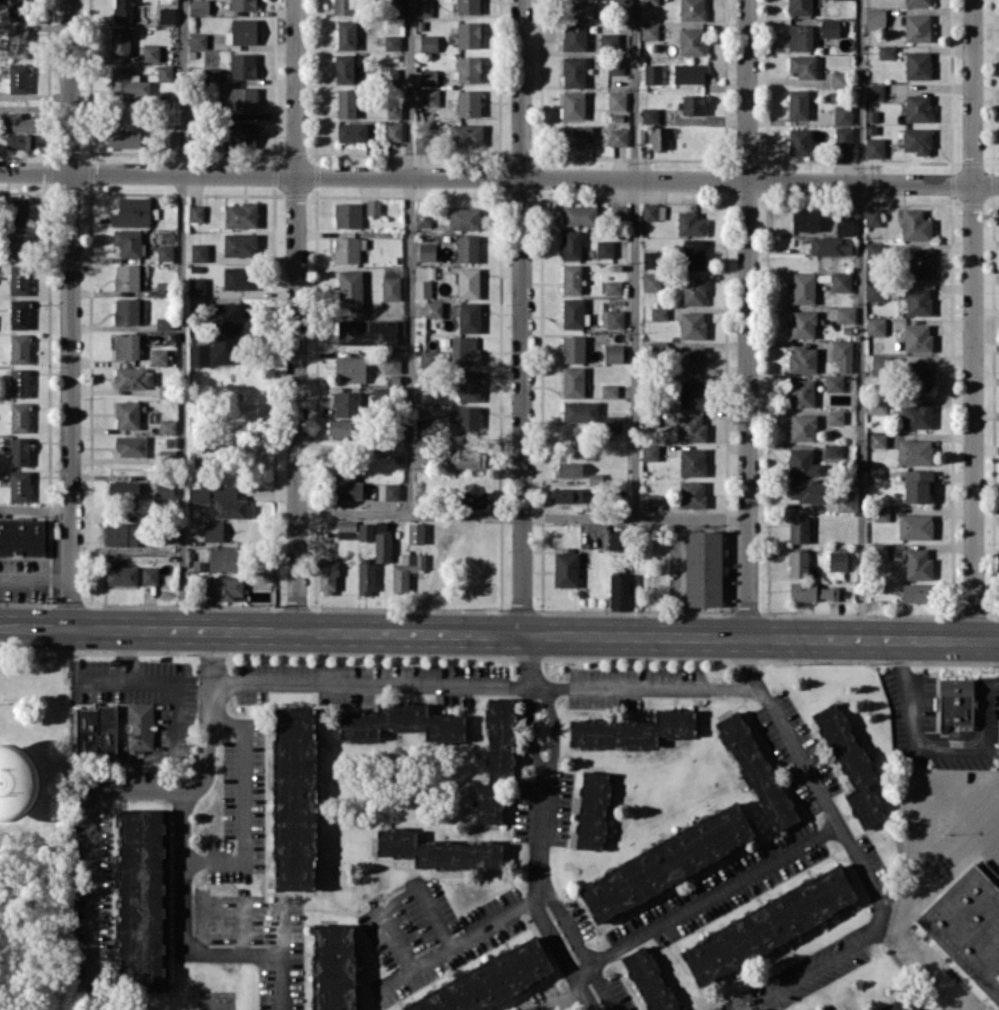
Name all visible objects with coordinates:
building: (619, 2)
building: (649, 2)
building: (917, 2)
building: (242, 4)
building: (200, 6)
building: (468, 6)
building: (343, 7)
building: (799, 7)
building: (423, 8)
building: (19, 10)
building: (123, 10)
building: (691, 10)
building: (580, 11)
building: (167, 15)
building: (875, 17)
building: (830, 27)
building: (917, 27)
building: (649, 30)
building: (242, 32)
building: (346, 34)
building: (468, 34)
building: (574, 36)
building: (799, 37)
building: (198, 40)
building: (609, 40)
building: (120, 41)
building: (692, 41)
building: (392, 42)
building: (428, 42)
building: (18, 43)
building: (151, 52)
building: (886, 52)
building: (917, 64)
building: (242, 65)
building: (616, 65)
building: (803, 65)
building: (344, 68)
building: (468, 68)
building: (165, 72)
building: (573, 72)
building: (653, 73)
building: (688, 73)
building: (211, 75)
building: (390, 77)
building: (428, 77)
building: (18, 78)
building: (837, 78)
building: (128, 83)
building: (874, 92)
building: (430, 97)
building: (239, 99)
building: (617, 100)
building: (346, 102)
building: (468, 103)
building: (692, 104)
building: (798, 104)
building: (573, 105)
building: (917, 107)
building: (394, 109)
building: (843, 114)
building: (650, 115)
building: (20, 122)
building: (871, 122)
building: (351, 131)
building: (393, 131)
building: (243, 133)
building: (466, 134)
building: (576, 135)
building: (844, 135)
building: (618, 136)
building: (655, 136)
building: (169, 137)
building: (123, 138)
building: (916, 140)
building: (21, 141)
building: (799, 141)
building: (422, 142)
building: (874, 147)
road: (499, 177)
building: (373, 207)
building: (17, 210)
building: (651, 211)
building: (132, 212)
building: (196, 212)
building: (619, 212)
building: (241, 215)
building: (347, 215)
building: (579, 215)
building: (872, 216)
building: (422, 217)
building: (464, 218)
building: (806, 220)
building: (690, 223)
building: (915, 225)
building: (845, 226)
building: (128, 242)
building: (240, 244)
building: (571, 244)
building: (18, 245)
building: (831, 246)
building: (468, 248)
building: (605, 248)
building: (346, 249)
building: (427, 251)
building: (165, 252)
building: (199, 252)
building: (694, 254)
road: (409, 257)
road: (522, 258)
building: (651, 258)
building: (919, 263)
building: (129, 277)
building: (238, 277)
building: (571, 278)
building: (19, 279)
building: (841, 281)
building: (468, 282)
building: (651, 282)
building: (197, 286)
building: (613, 287)
building: (803, 287)
building: (390, 288)
building: (422, 288)
building: (350, 290)
building: (693, 291)
building: (874, 291)
building: (917, 301)
building: (433, 308)
building: (129, 311)
building: (573, 313)
building: (658, 313)
building: (19, 314)
road: (69, 314)
building: (845, 314)
road: (181, 315)
road: (296, 315)
road: (635, 315)
building: (469, 317)
building: (612, 318)
road: (748, 318)
road: (860, 319)
road: (973, 319)
building: (165, 322)
building: (802, 323)
building: (692, 324)
building: (875, 326)
building: (367, 331)
building: (225, 333)
building: (916, 337)
building: (127, 345)
building: (19, 348)
building: (573, 348)
building: (464, 350)
building: (613, 353)
building: (198, 354)
building: (843, 354)
building: (158, 356)
building: (803, 359)
building: (691, 360)
building: (392, 363)
building: (879, 364)
building: (351, 369)
building: (918, 376)
building: (133, 377)
building: (573, 381)
building: (834, 382)
building: (19, 383)
building: (469, 386)
building: (609, 390)
building: (801, 392)
building: (693, 393)
building: (346, 403)
building: (876, 403)
building: (579, 411)
building: (127, 414)
building: (917, 415)
building: (19, 416)
building: (835, 416)
building: (468, 420)
building: (613, 423)
building: (167, 426)
building: (341, 427)
building: (802, 427)
building: (691, 428)
building: (877, 439)
building: (130, 445)
building: (832, 450)
building: (19, 451)
building: (914, 451)
building: (650, 452)
building: (467, 458)
building: (692, 461)
building: (800, 461)
building: (570, 468)
building: (595, 478)
building: (19, 485)
building: (917, 485)
building: (348, 489)
building: (122, 490)
building: (388, 491)
building: (808, 491)
building: (164, 492)
building: (568, 494)
building: (692, 494)
building: (475, 499)
building: (222, 500)
building: (652, 501)
building: (845, 501)
road: (34, 507)
building: (880, 513)
road: (409, 515)
road: (691, 518)
building: (915, 526)
building: (346, 529)
building: (798, 529)
building: (213, 530)
building: (366, 531)
building: (416, 533)
building: (121, 534)
building: (21, 536)
building: (618, 540)
building: (382, 542)
building: (877, 551)
building: (223, 558)
building: (837, 560)
building: (798, 563)
building: (918, 564)
building: (703, 568)
building: (566, 569)
building: (406, 570)
building: (120, 573)
building: (149, 575)
building: (366, 575)
building: (328, 576)
road: (522, 576)
road: (35, 584)
building: (224, 586)
building: (619, 591)
building: (811, 591)
building: (915, 593)
road: (373, 632)
road: (873, 639)
road: (530, 660)
road: (373, 681)
road: (148, 683)
road: (648, 686)
building: (956, 702)
building: (402, 722)
building: (139, 725)
building: (633, 729)
building: (96, 730)
road: (555, 730)
road: (785, 730)
road: (531, 732)
road: (911, 751)
building: (496, 761)
building: (851, 764)
building: (756, 770)
road: (196, 787)
building: (294, 798)
road: (244, 809)
building: (592, 810)
road: (974, 810)
building: (7, 811)
road: (93, 835)
building: (439, 850)
road: (915, 860)
building: (666, 861)
road: (869, 875)
road: (396, 897)
road: (713, 897)
building: (140, 898)
road: (546, 902)
building: (768, 925)
building: (969, 926)
road: (472, 936)
road: (261, 945)
building: (334, 967)
road: (806, 970)
building: (649, 980)
building: (488, 982)
road: (568, 992)

